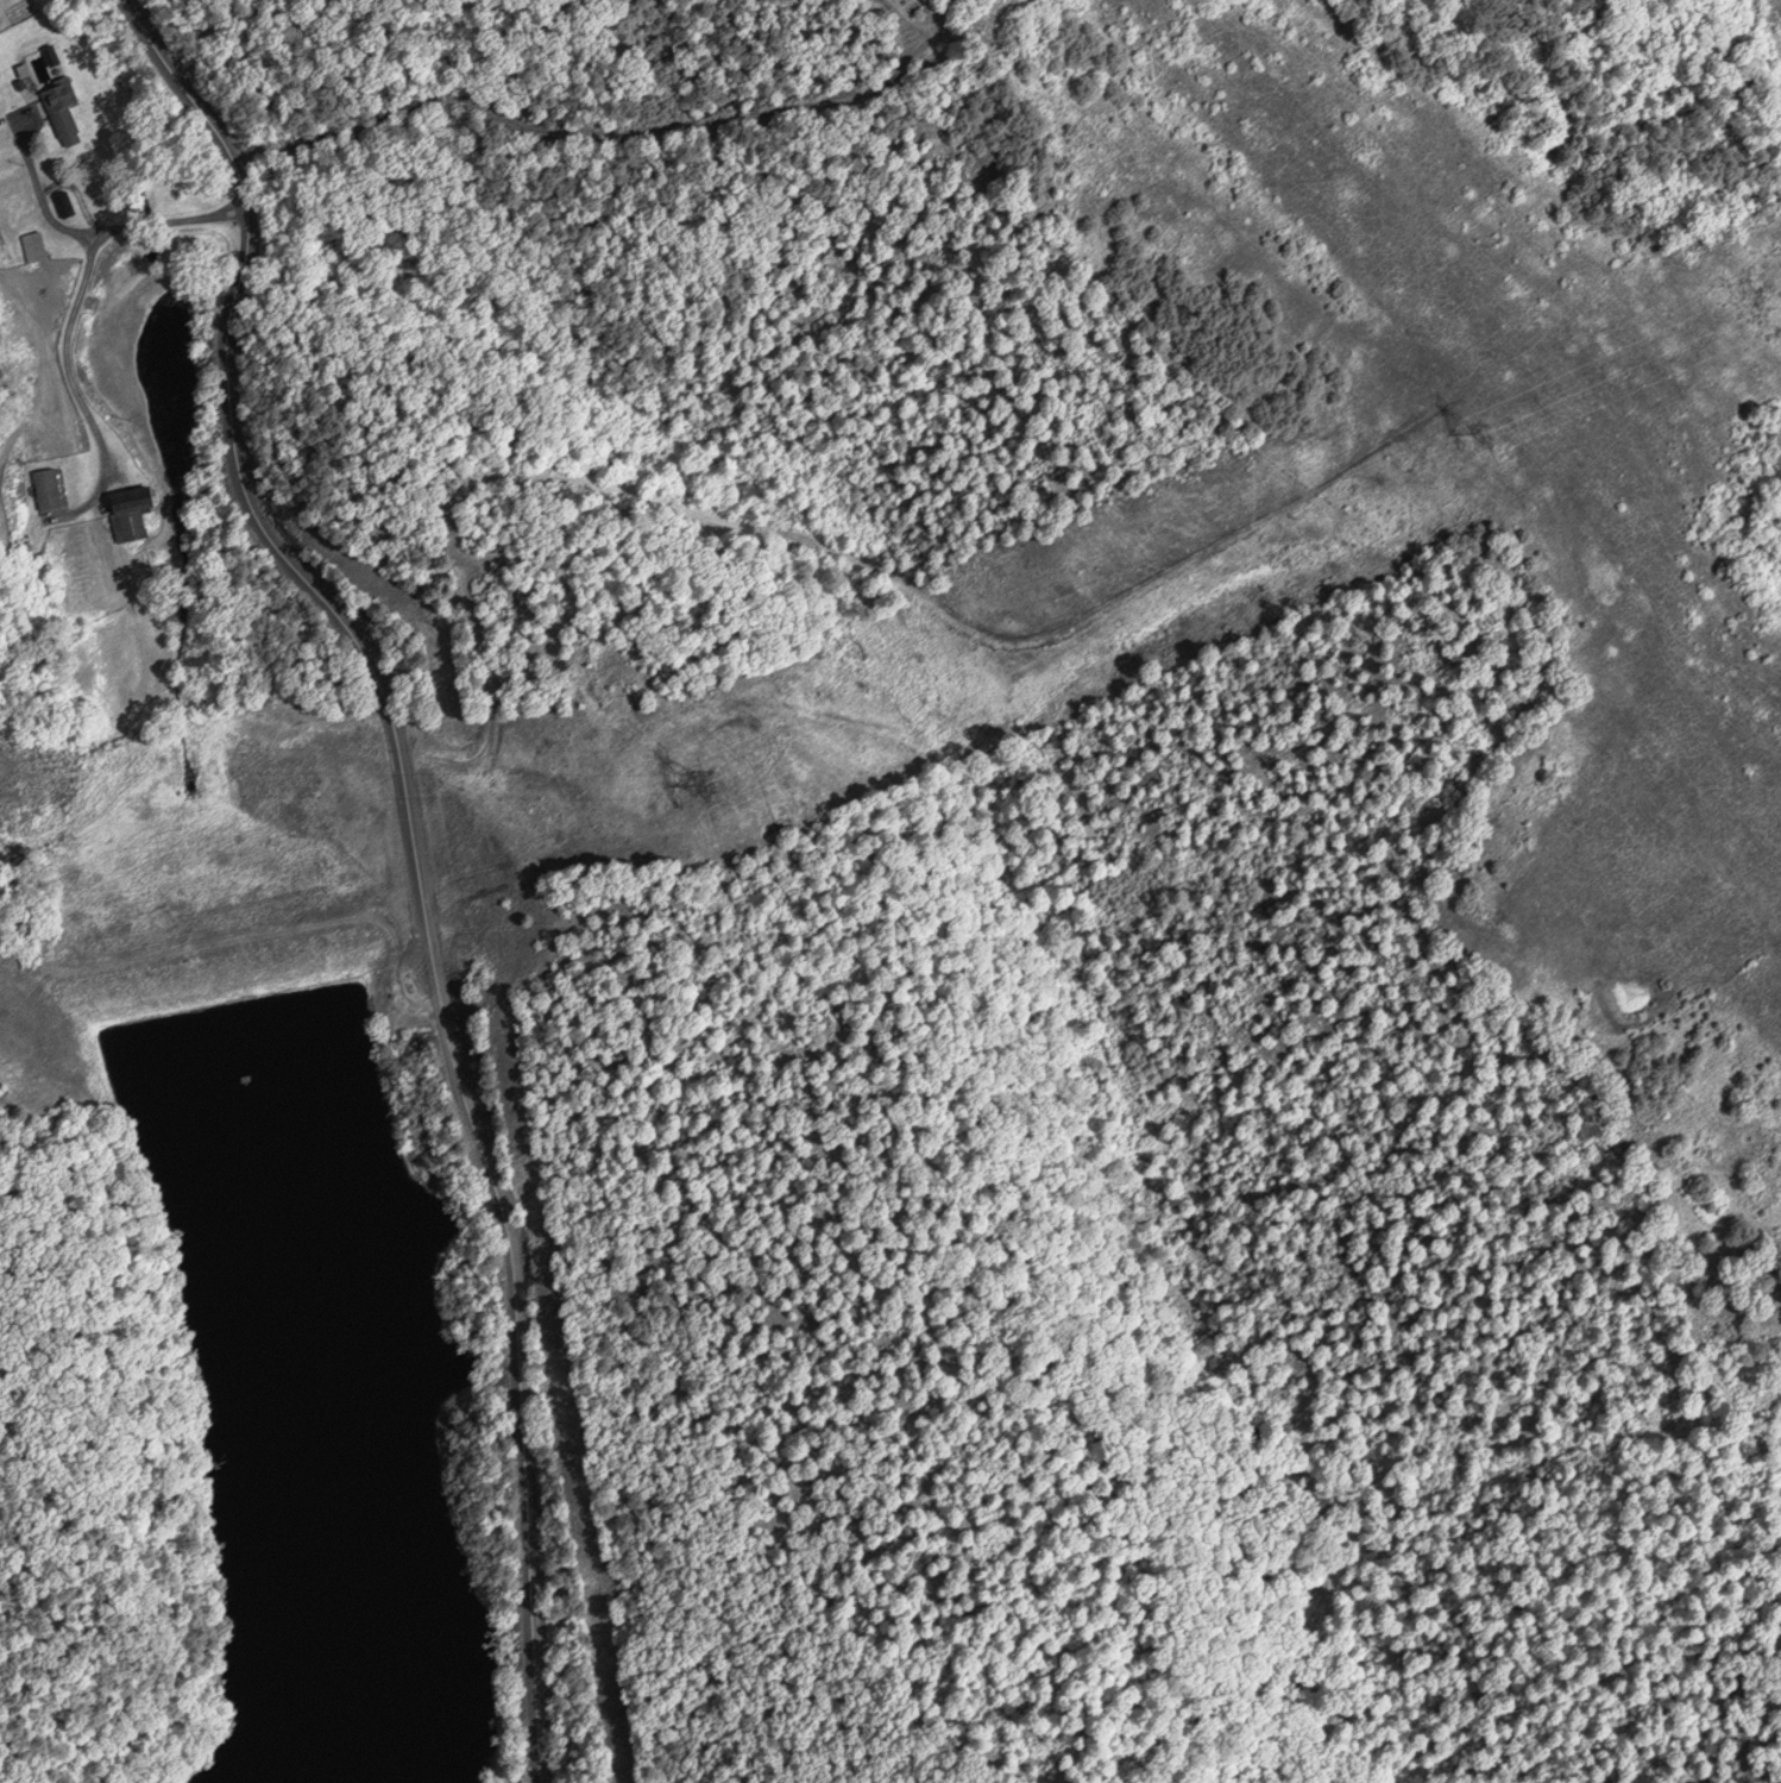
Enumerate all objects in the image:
building: (63, 109)
road: (599, 126)
road: (99, 228)
building: (38, 244)
road: (73, 388)
power tower: (1483, 433)
building: (50, 485)
building: (132, 513)
power tower: (704, 780)
road: (414, 853)
park: (235, 1235)
park: (598, 1395)

